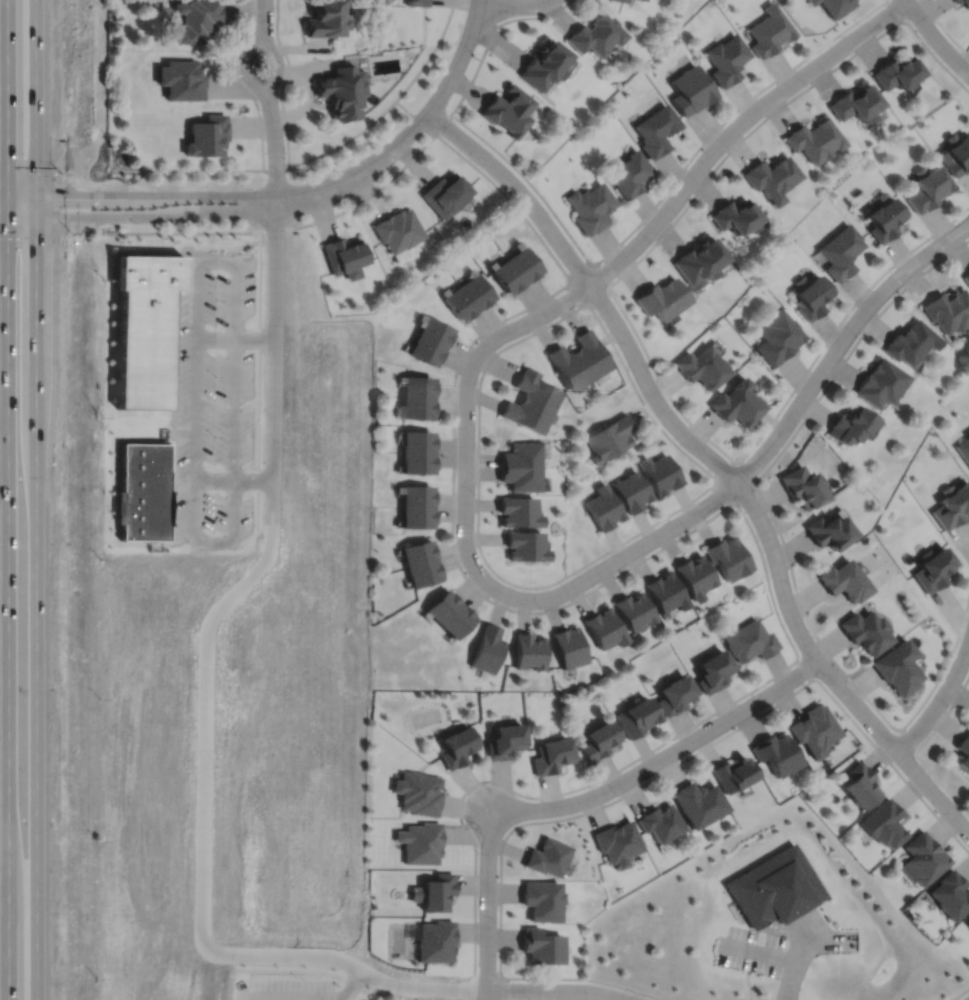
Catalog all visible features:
building: (638, 0)
building: (620, 1)
building: (415, 2)
road: (497, 2)
building: (963, 3)
road: (513, 6)
building: (834, 6)
road: (893, 11)
road: (264, 13)
road: (532, 17)
building: (194, 19)
building: (323, 19)
road: (944, 29)
building: (769, 32)
building: (596, 35)
road: (936, 38)
street lamp: (473, 52)
building: (726, 61)
road: (277, 65)
building: (544, 66)
road: (241, 68)
building: (896, 74)
building: (179, 81)
road: (448, 81)
road: (283, 82)
road: (238, 84)
building: (690, 91)
building: (339, 92)
road: (7, 95)
road: (35, 95)
road: (392, 104)
building: (855, 105)
street lamp: (261, 109)
building: (508, 111)
street lamp: (406, 120)
building: (655, 132)
building: (205, 137)
building: (814, 141)
building: (956, 153)
road: (275, 158)
street lamp: (476, 163)
traffic signals: (7, 164)
road: (202, 169)
building: (629, 172)
building: (771, 178)
street lamp: (133, 186)
street lamp: (243, 186)
road: (686, 186)
building: (928, 187)
road: (3, 190)
road: (21, 191)
traffic signals: (58, 194)
building: (445, 194)
road: (219, 195)
road: (659, 199)
street lamp: (349, 200)
road: (6, 201)
road: (35, 202)
road: (354, 205)
building: (591, 205)
road: (3, 211)
road: (20, 211)
road: (224, 212)
building: (736, 215)
building: (884, 216)
street lamp: (134, 222)
street lamp: (244, 222)
road: (967, 223)
road: (967, 224)
building: (398, 228)
traffic signals: (35, 233)
building: (841, 249)
building: (344, 255)
building: (699, 260)
road: (216, 261)
building: (525, 261)
building: (507, 274)
building: (966, 275)
road: (606, 285)
road: (35, 289)
building: (477, 289)
building: (811, 294)
building: (663, 296)
building: (460, 301)
building: (948, 308)
road: (627, 317)
building: (145, 325)
building: (435, 330)
building: (777, 335)
road: (235, 340)
building: (911, 340)
road: (840, 342)
building: (425, 348)
building: (590, 352)
road: (175, 359)
building: (703, 365)
building: (568, 366)
road: (273, 381)
building: (880, 381)
road: (258, 382)
building: (418, 385)
building: (537, 388)
building: (736, 401)
parking lot: (215, 403)
building: (417, 406)
building: (526, 414)
road: (35, 416)
building: (852, 423)
building: (968, 432)
building: (611, 437)
building: (416, 440)
building: (964, 448)
building: (521, 453)
building: (416, 461)
road: (715, 461)
road: (737, 463)
road: (701, 465)
building: (661, 472)
building: (521, 476)
building: (801, 485)
road: (465, 486)
building: (633, 490)
building: (143, 491)
building: (416, 495)
building: (952, 504)
building: (604, 507)
building: (518, 511)
building: (416, 516)
road: (194, 522)
building: (828, 530)
road: (779, 531)
road: (668, 543)
building: (525, 545)
building: (418, 552)
road: (622, 556)
building: (727, 556)
building: (933, 568)
building: (423, 573)
building: (696, 575)
building: (844, 580)
building: (666, 591)
road: (7, 605)
building: (442, 605)
building: (634, 610)
building: (457, 620)
building: (605, 628)
building: (865, 631)
building: (750, 640)
building: (569, 646)
building: (488, 649)
building: (530, 650)
road: (804, 667)
building: (897, 667)
building: (714, 671)
building: (676, 695)
road: (939, 701)
building: (637, 717)
building: (813, 728)
road: (36, 732)
road: (908, 737)
building: (600, 740)
building: (505, 742)
road: (919, 746)
building: (457, 747)
building: (963, 750)
building: (776, 751)
building: (552, 756)
road: (661, 759)
building: (732, 771)
building: (860, 782)
road: (632, 789)
building: (418, 791)
building: (698, 800)
building: (661, 820)
building: (884, 821)
building: (420, 840)
building: (617, 840)
building: (547, 854)
building: (923, 856)
road: (203, 880)
building: (774, 885)
building: (434, 890)
building: (951, 893)
building: (542, 898)
road: (487, 904)
road: (802, 924)
building: (968, 926)
road: (832, 936)
building: (435, 939)
building: (541, 944)
road: (803, 948)
parking lot: (752, 950)
road: (758, 951)
road: (791, 980)
road: (351, 987)
road: (503, 988)
road: (554, 990)
road: (961, 994)
road: (283, 999)

